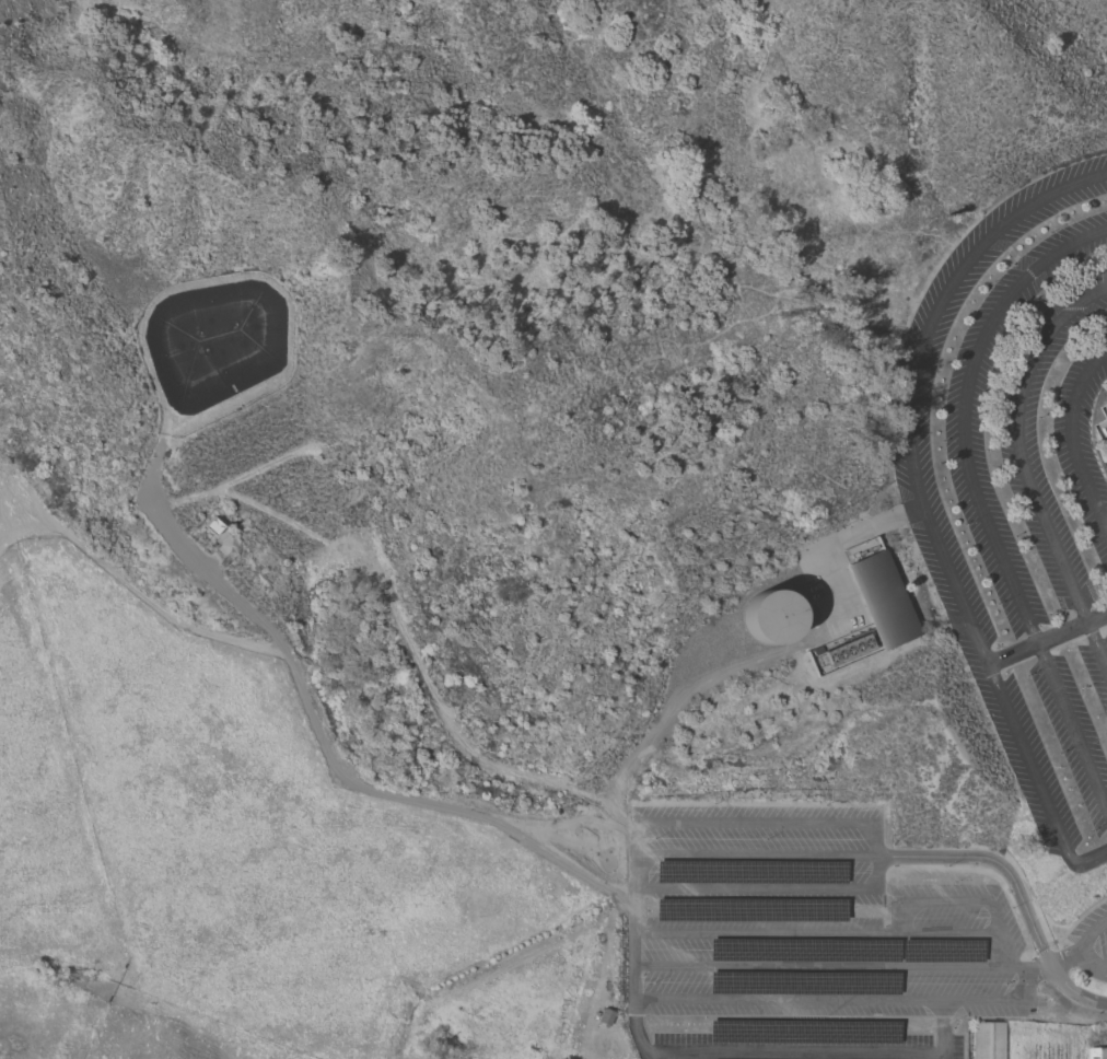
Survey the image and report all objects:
street lamp: (1048, 233)
road: (1011, 254)
street lamp: (1098, 256)
street lamp: (992, 281)
street lamp: (1032, 302)
road: (1097, 323)
street lamp: (949, 360)
street lamp: (991, 372)
road: (257, 392)
building: (1106, 409)
street lamp: (941, 443)
road: (1072, 443)
street lamp: (986, 452)
parking lot: (1106, 466)
road: (1023, 475)
parking lot: (1019, 487)
road: (913, 488)
road: (975, 502)
street lamp: (793, 555)
road: (138, 598)
building: (866, 610)
building: (770, 616)
road: (397, 620)
street lamp: (848, 632)
road: (1046, 639)
road: (1048, 649)
road: (783, 654)
road: (432, 805)
street lamp: (825, 806)
street lamp: (713, 807)
road: (754, 823)
street lamp: (654, 839)
street lamp: (766, 840)
road: (1087, 853)
road: (753, 854)
road: (872, 858)
street lamp: (947, 866)
building: (749, 871)
street lamp: (954, 884)
road: (1014, 889)
road: (753, 891)
road: (960, 901)
street lamp: (1010, 909)
road: (1079, 916)
road: (901, 918)
road: (815, 933)
road: (632, 941)
parking lot: (808, 941)
road: (1053, 941)
parking lot: (1089, 943)
road: (1083, 945)
road: (1038, 949)
road: (1002, 951)
road: (1052, 962)
road: (829, 967)
street lamp: (1072, 980)
street lamp: (653, 984)
road: (837, 1000)
building: (605, 1017)
street lamp: (953, 1022)
road: (943, 1029)
building: (988, 1040)
road: (793, 1052)
building: (1097, 1052)

